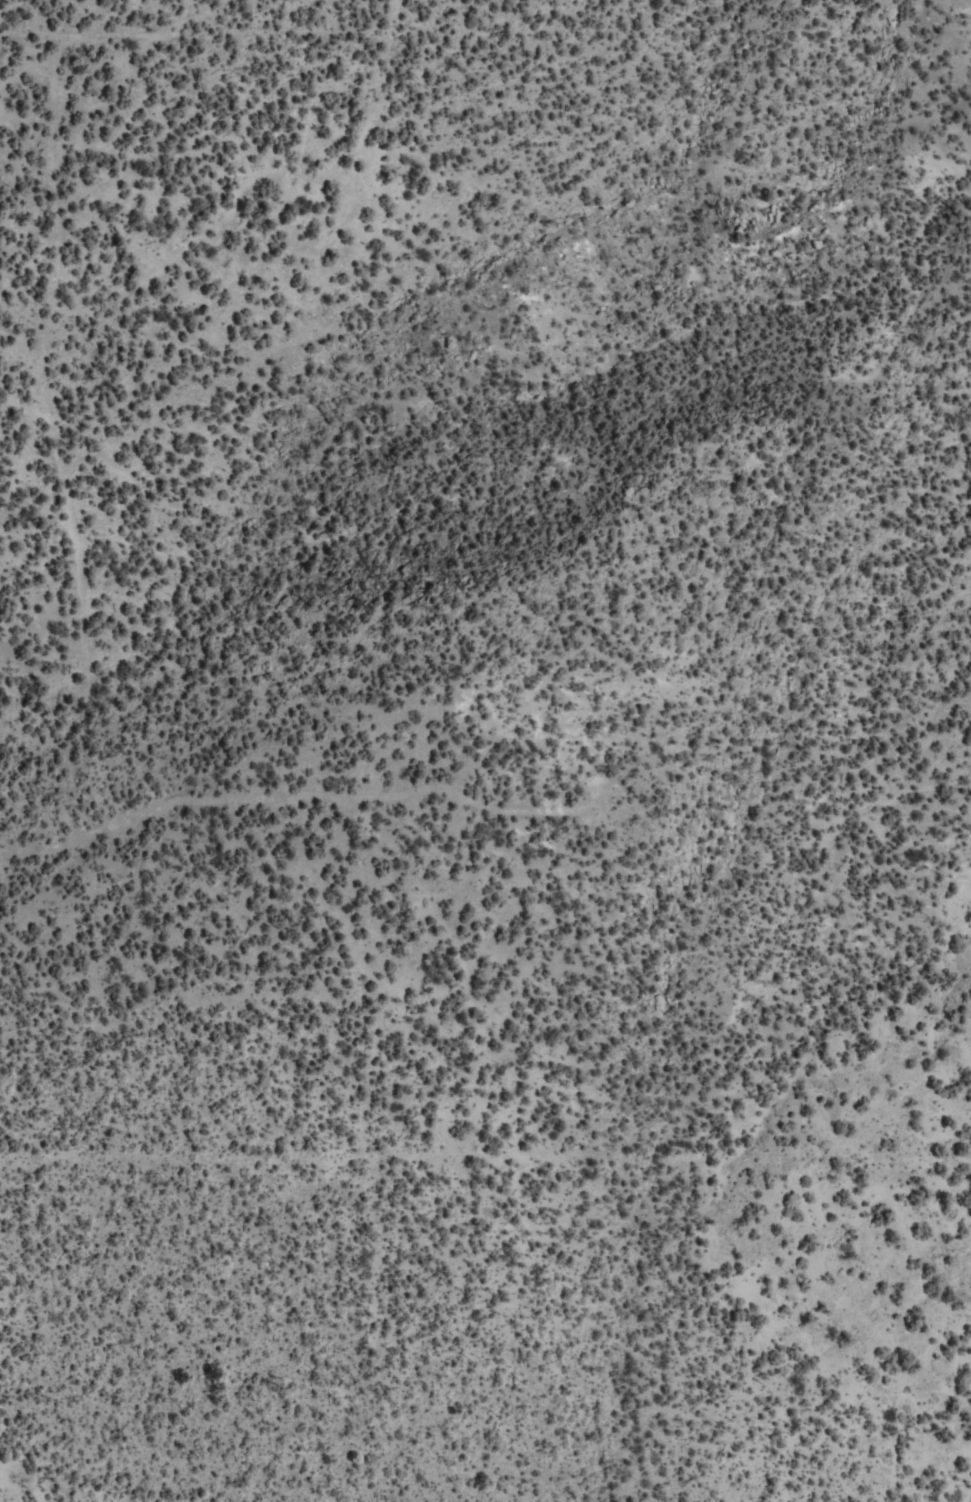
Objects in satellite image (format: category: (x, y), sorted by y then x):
road: (324, 411)
road: (485, 1172)

